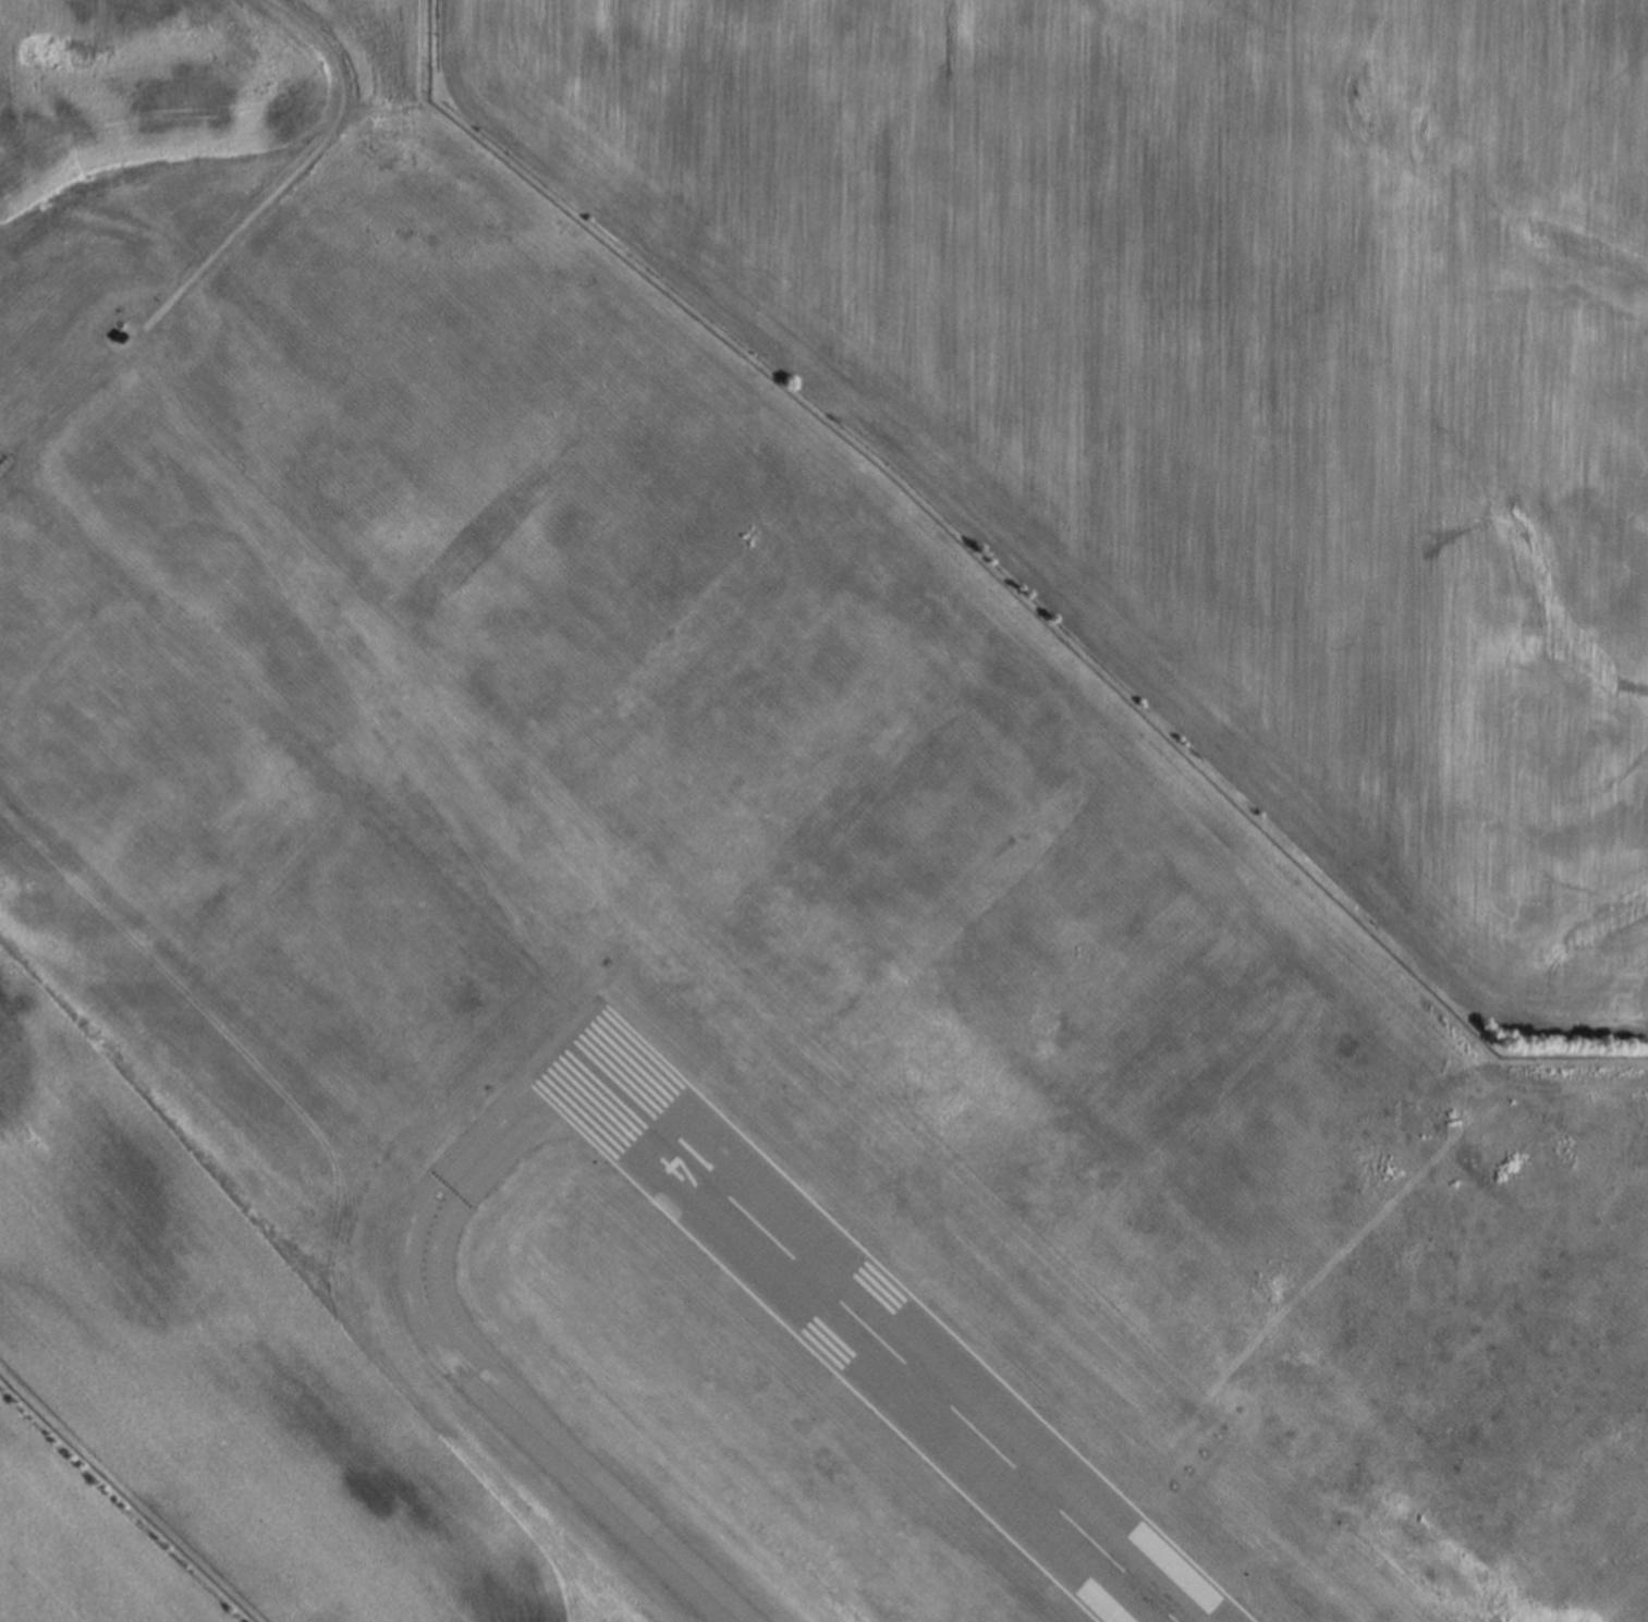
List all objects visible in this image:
crop: (1207, 391)
airport: (679, 971)
airport taxiway: (499, 1137)
airport runway: (865, 1328)
airport taxiway: (550, 1442)

